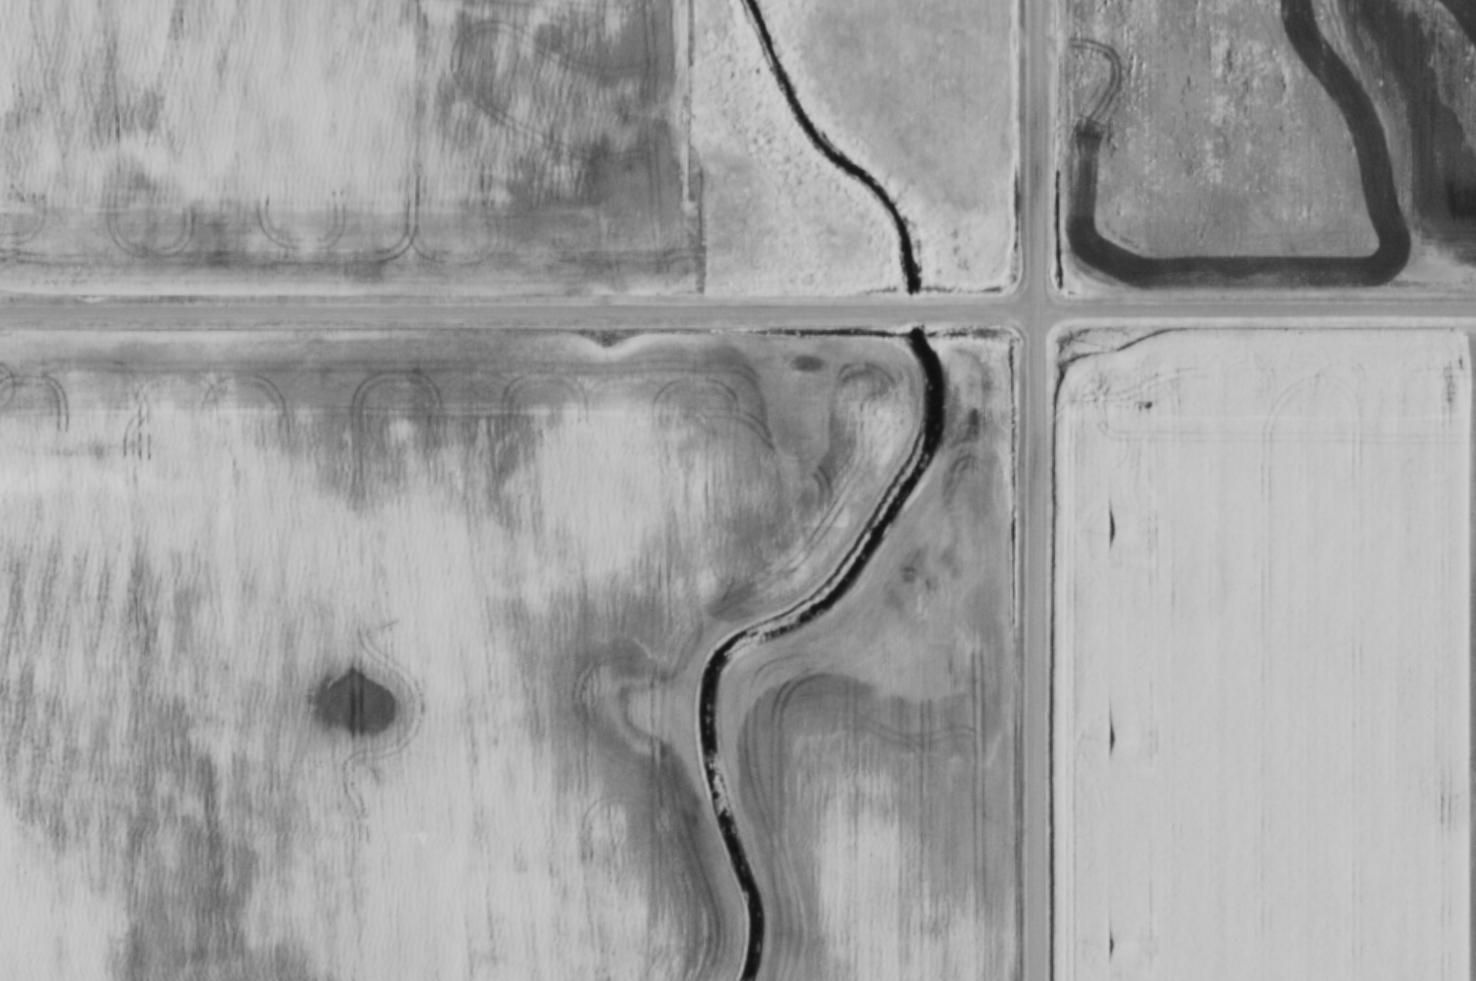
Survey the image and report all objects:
road: (737, 311)
road: (1034, 490)
river: (920, 510)

